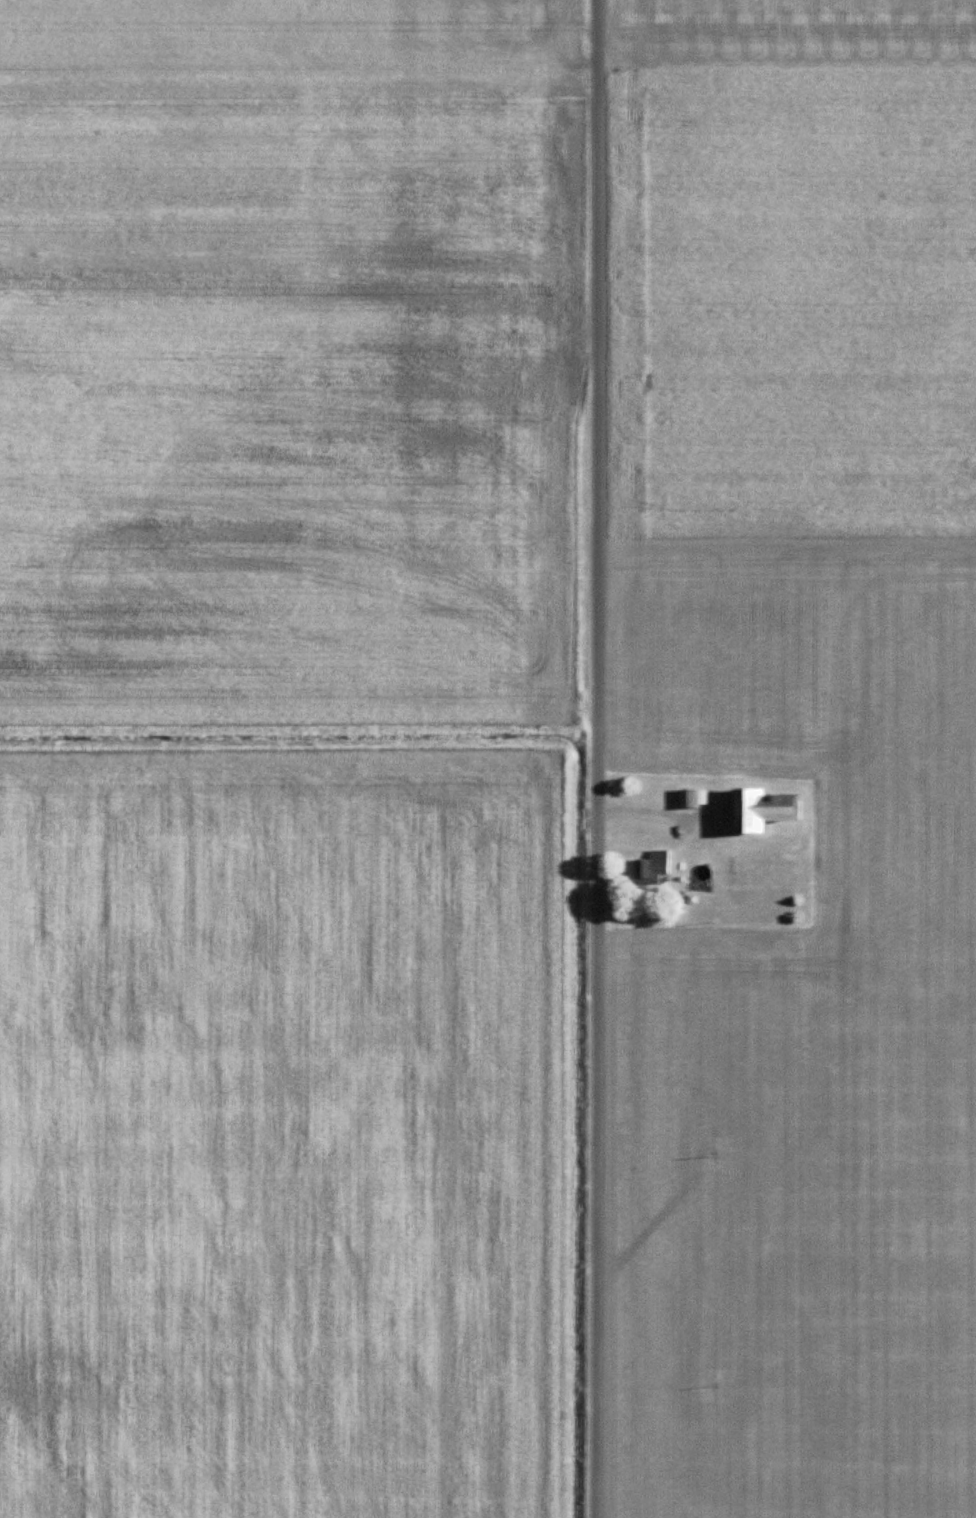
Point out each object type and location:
road: (596, 759)
building: (688, 799)
building: (758, 811)
building: (650, 868)

